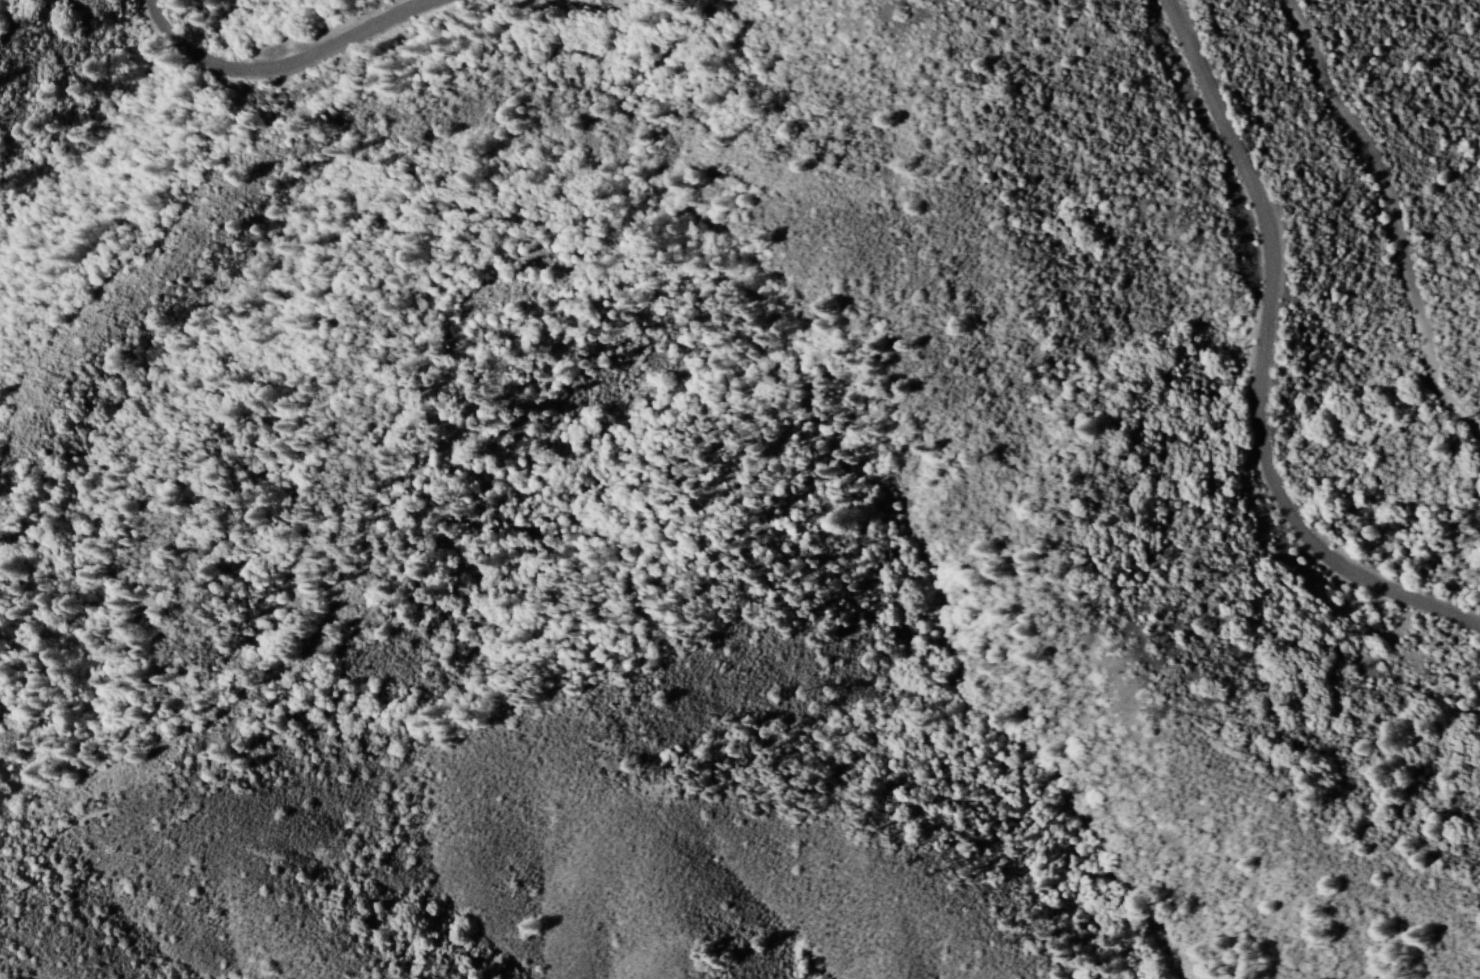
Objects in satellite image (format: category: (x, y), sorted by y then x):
road: (281, 66)
road: (1394, 212)
road: (1264, 362)

